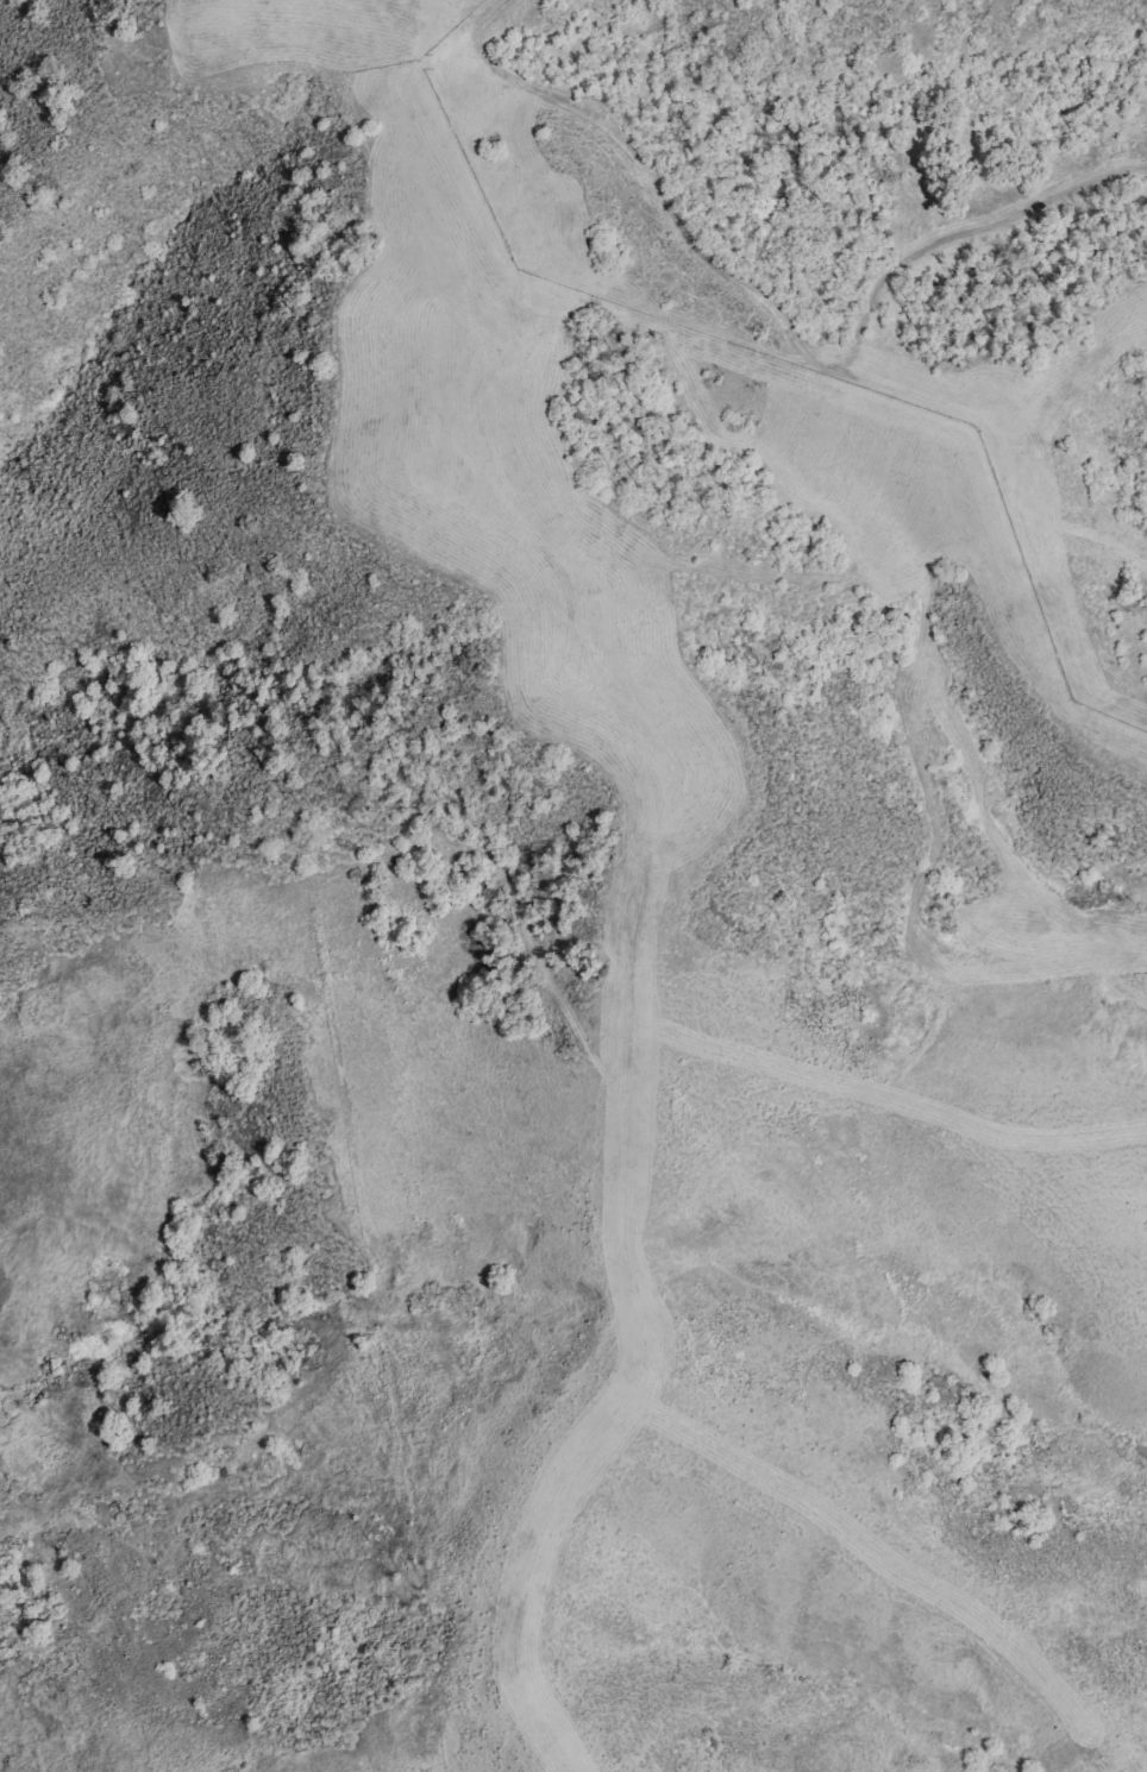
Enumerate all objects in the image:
road: (493, 13)
road: (828, 376)
road: (643, 888)

